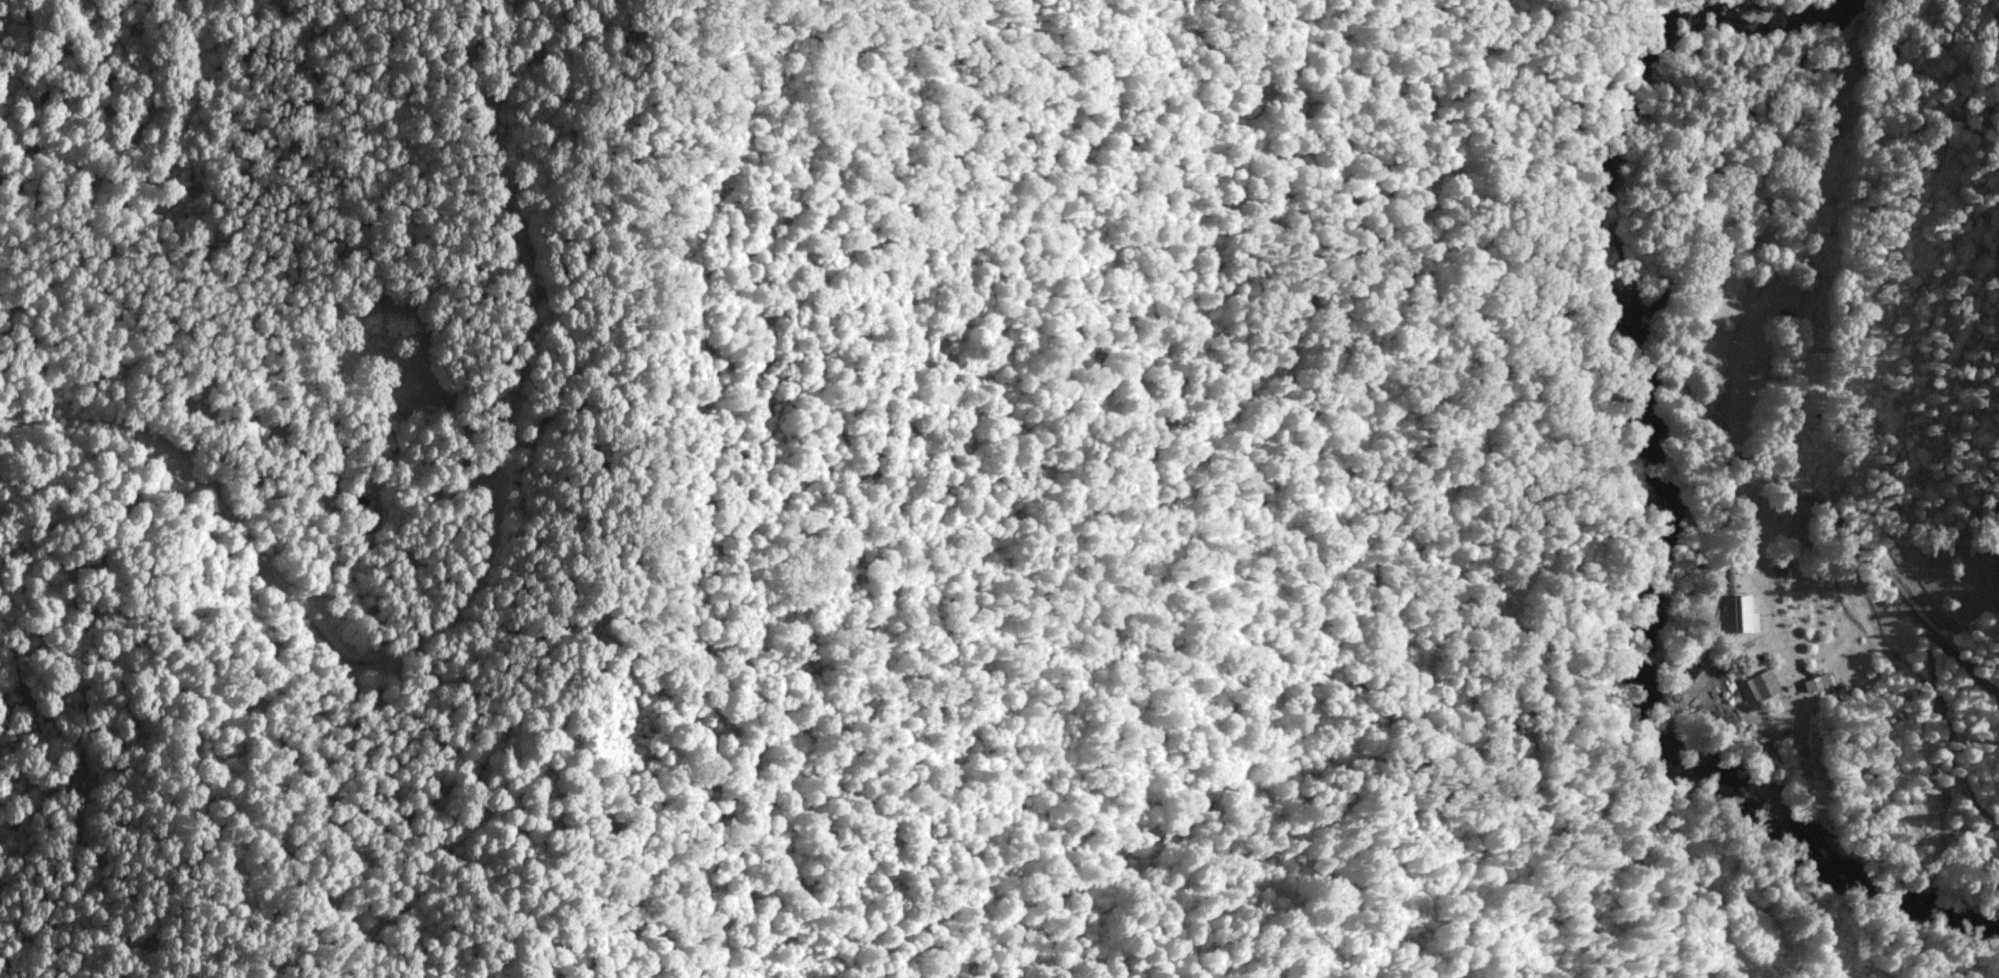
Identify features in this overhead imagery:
building: (1738, 611)
building: (1765, 682)

